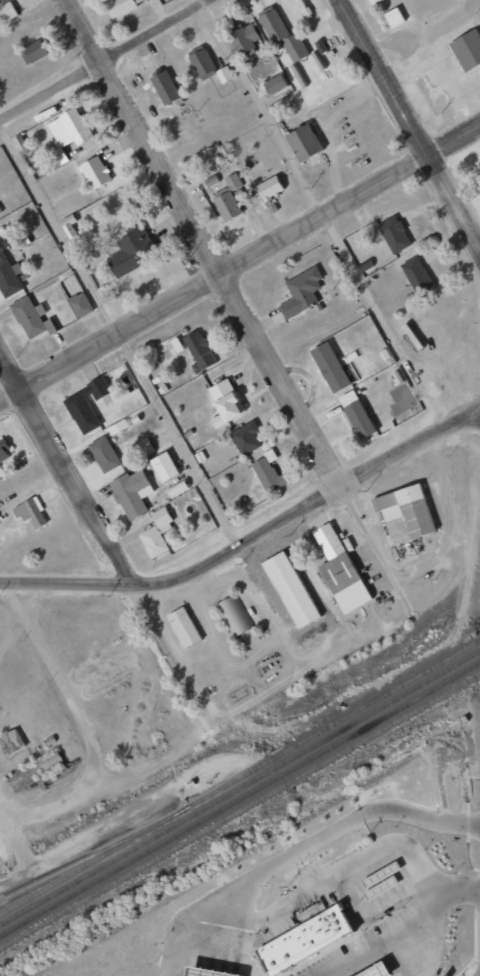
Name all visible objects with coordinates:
building: (372, 1)
building: (375, 1)
building: (121, 6)
building: (7, 11)
building: (398, 16)
building: (288, 34)
building: (250, 39)
building: (468, 39)
building: (36, 50)
road: (104, 58)
building: (208, 67)
building: (294, 73)
building: (279, 82)
building: (165, 87)
road: (409, 120)
building: (67, 134)
building: (308, 138)
park: (471, 169)
building: (95, 172)
building: (233, 181)
building: (269, 188)
building: (227, 206)
road: (323, 214)
building: (69, 226)
building: (399, 233)
building: (130, 250)
road: (239, 263)
building: (422, 274)
building: (9, 277)
building: (301, 292)
road: (236, 304)
building: (80, 305)
building: (30, 319)
road: (120, 335)
building: (199, 352)
building: (330, 367)
building: (225, 403)
building: (86, 405)
building: (357, 414)
building: (246, 438)
building: (144, 447)
building: (4, 452)
building: (104, 454)
building: (164, 467)
road: (66, 469)
building: (268, 473)
building: (131, 493)
building: (408, 509)
building: (30, 513)
building: (161, 517)
road: (252, 541)
building: (153, 542)
building: (340, 571)
building: (290, 590)
building: (234, 615)
building: (183, 627)
building: (10, 742)
building: (51, 762)
railway: (239, 777)
railway: (240, 788)
railway: (240, 799)
railway: (240, 811)
railway: (95, 853)
building: (385, 872)
gas station: (385, 872)
building: (373, 884)
building: (385, 885)
gas station: (385, 885)
building: (307, 937)
building: (377, 968)
gas station: (377, 968)
building: (212, 970)
gas station: (212, 970)

